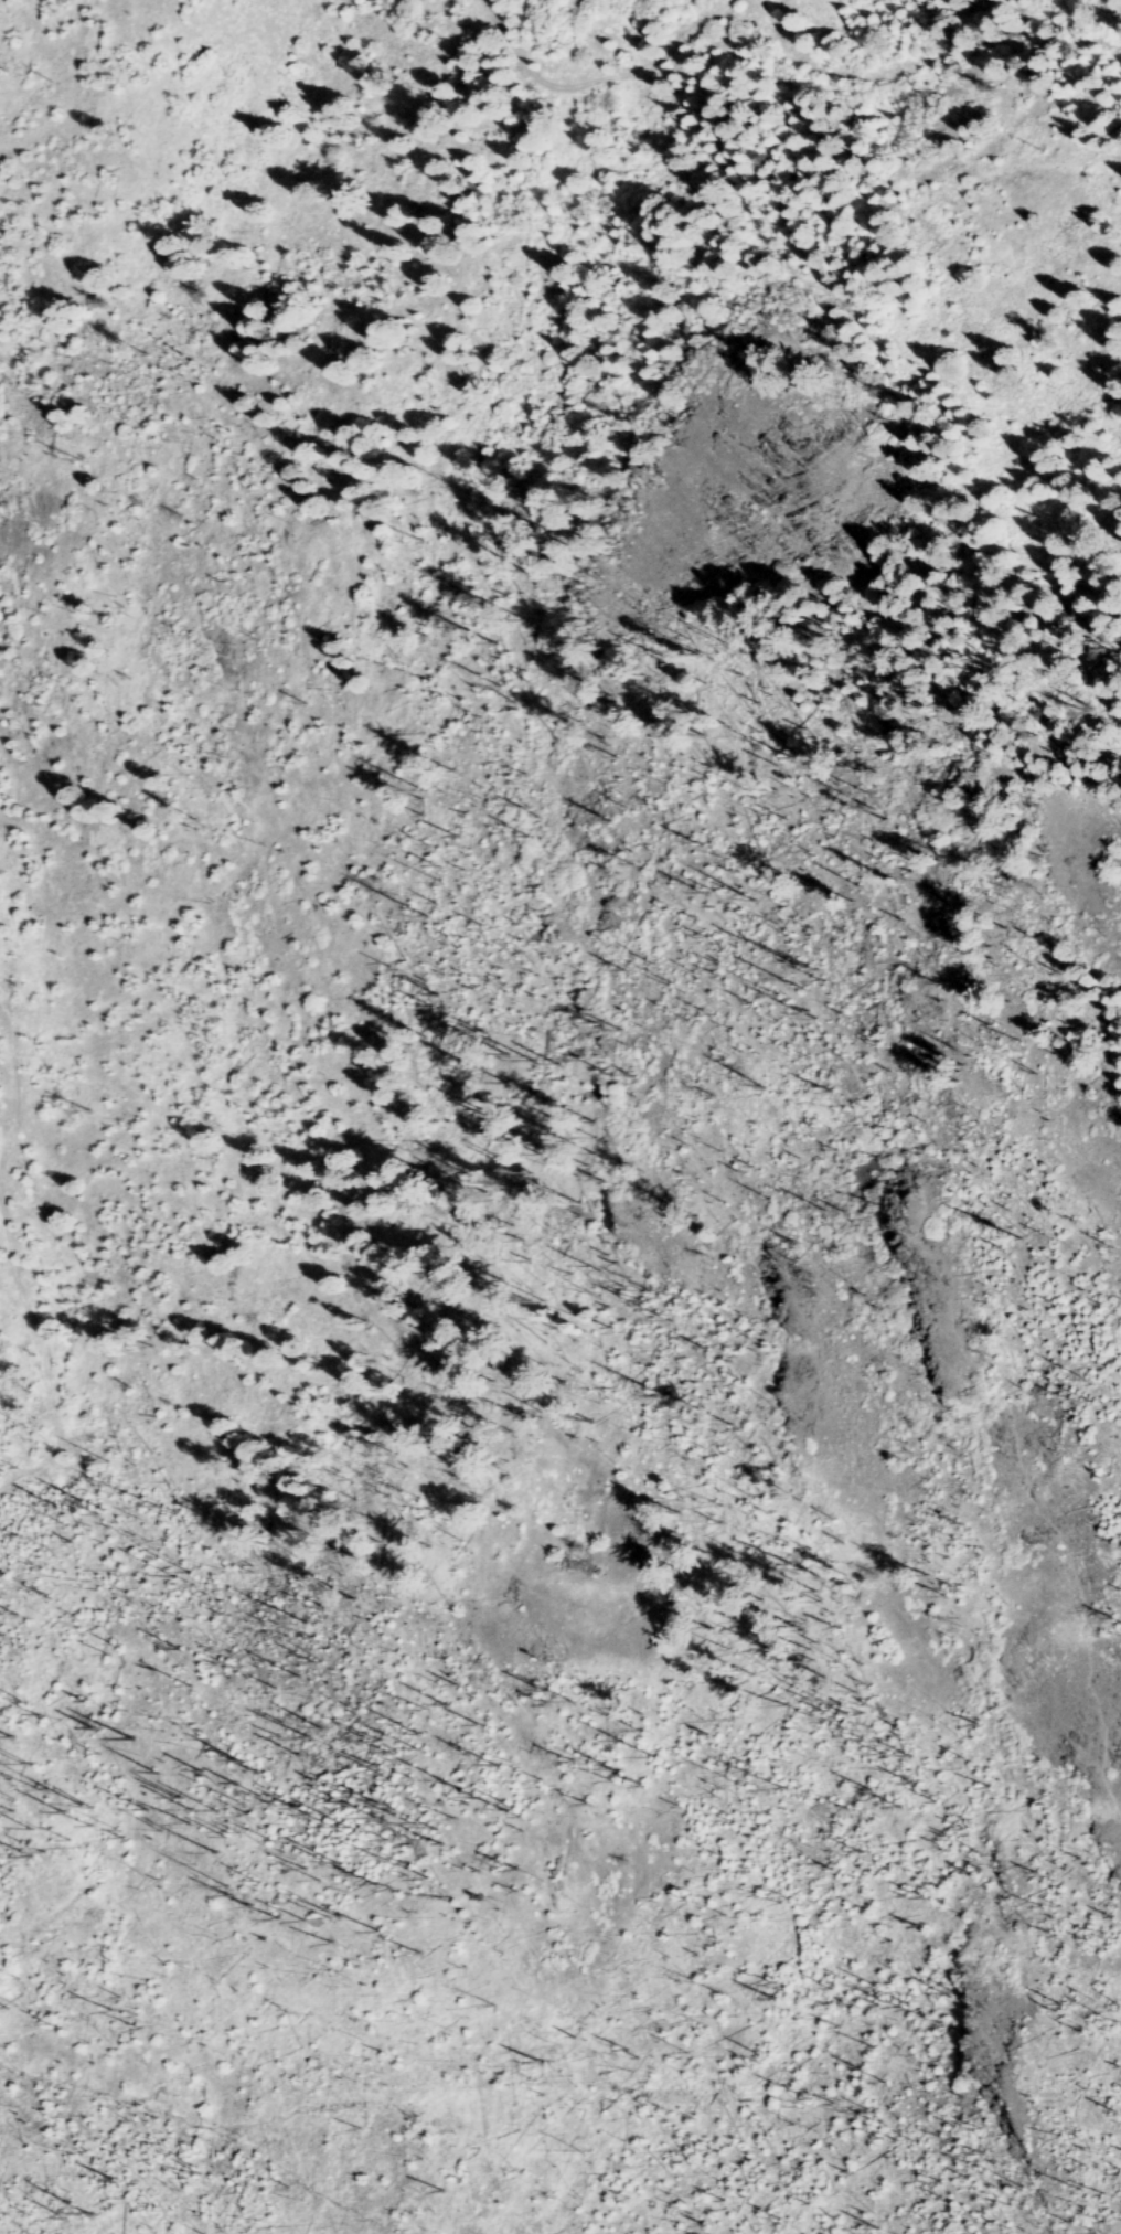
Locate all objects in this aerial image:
road: (929, 1241)
road: (1115, 2225)

